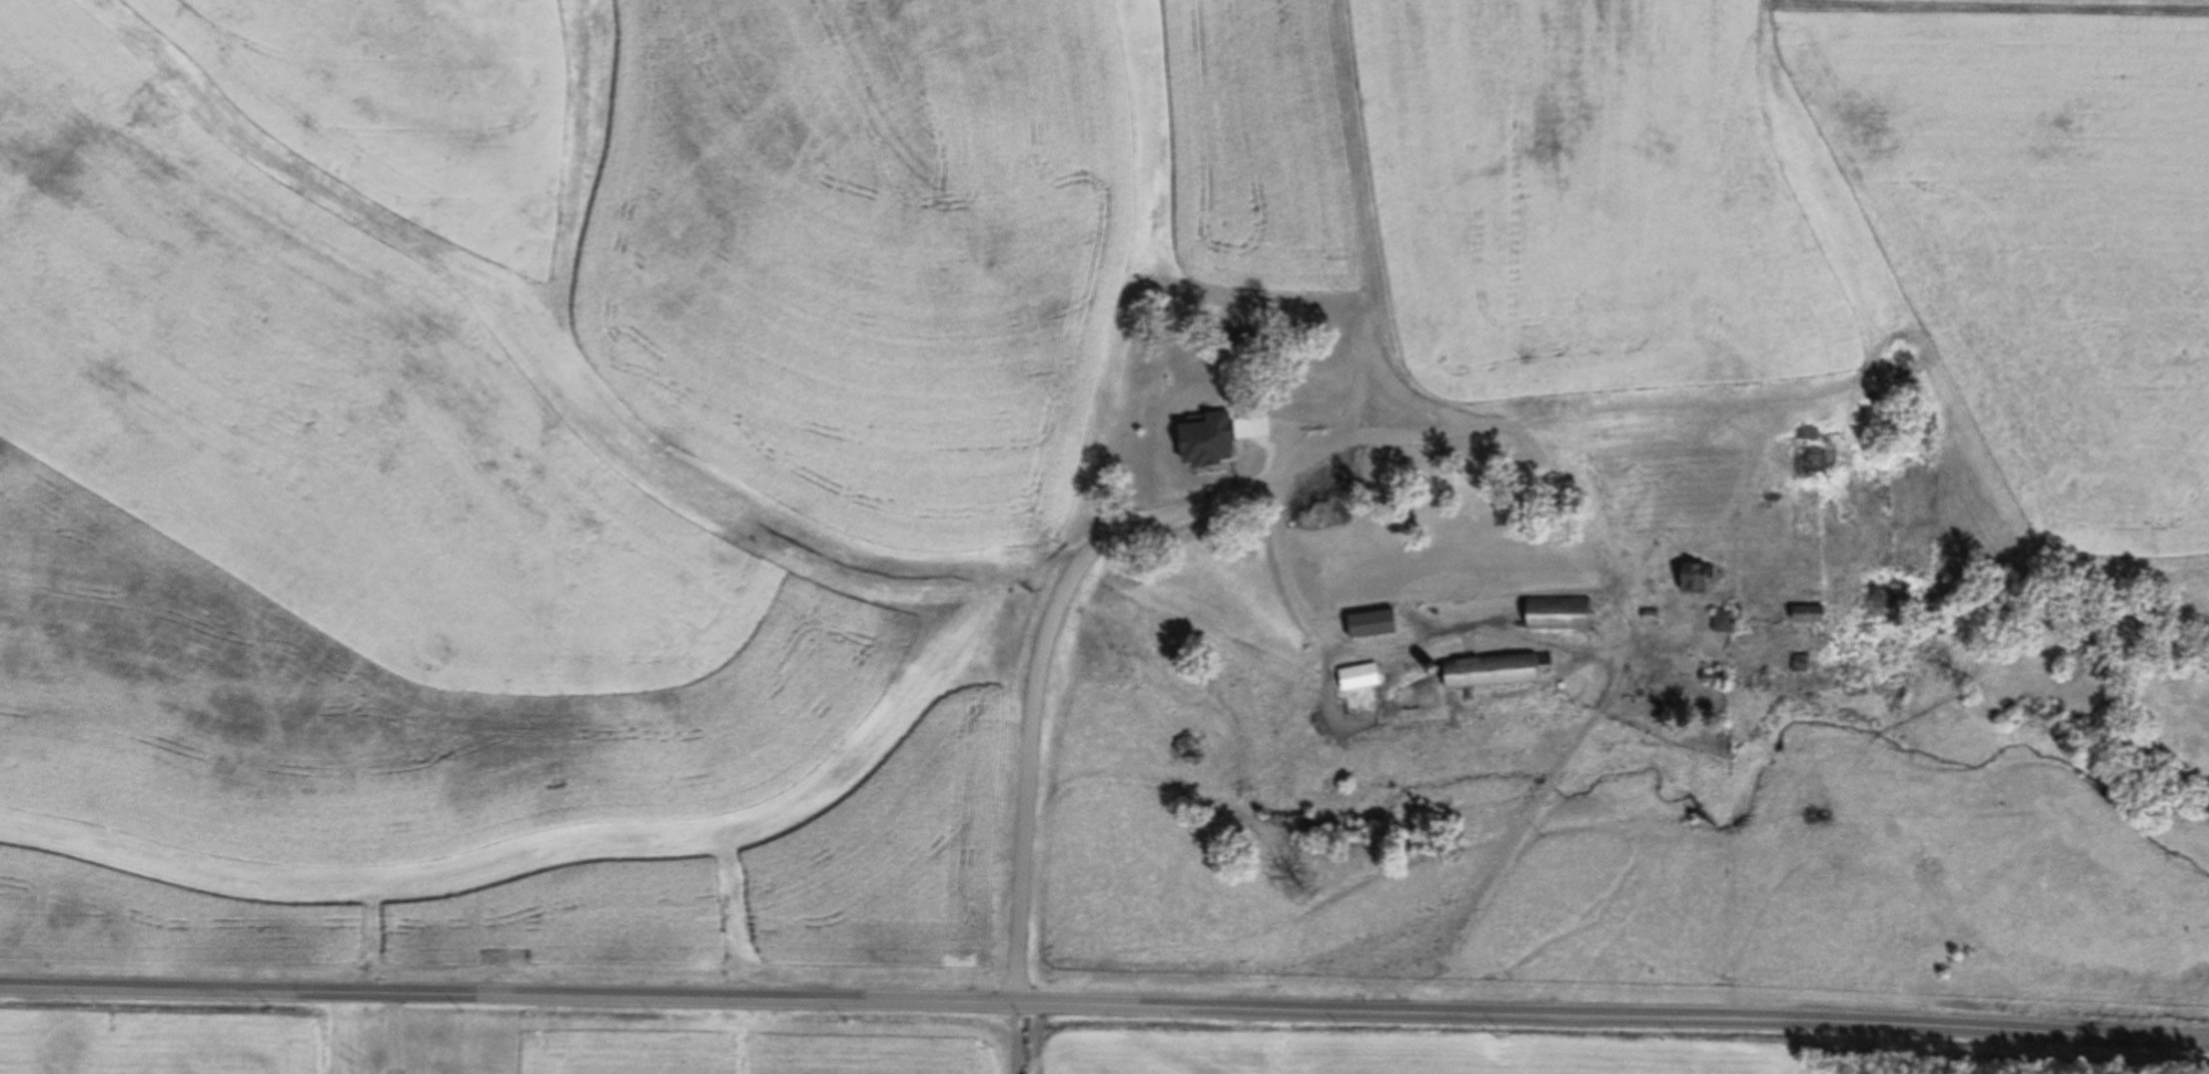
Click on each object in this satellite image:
road: (1338, 398)
building: (1812, 464)
building: (1300, 564)
building: (1314, 567)
building: (1692, 577)
building: (1877, 598)
building: (1462, 599)
building: (1805, 612)
building: (1557, 614)
building: (1648, 614)
road: (1624, 620)
building: (1721, 620)
building: (1371, 623)
road: (1696, 626)
building: (1843, 662)
building: (1798, 663)
building: (1433, 671)
building: (1491, 672)
building: (1357, 675)
building: (1710, 676)
building: (1650, 687)
building: (1721, 733)
road: (1561, 768)
road: (1104, 1005)
road: (398, 1034)
road: (1017, 1039)

